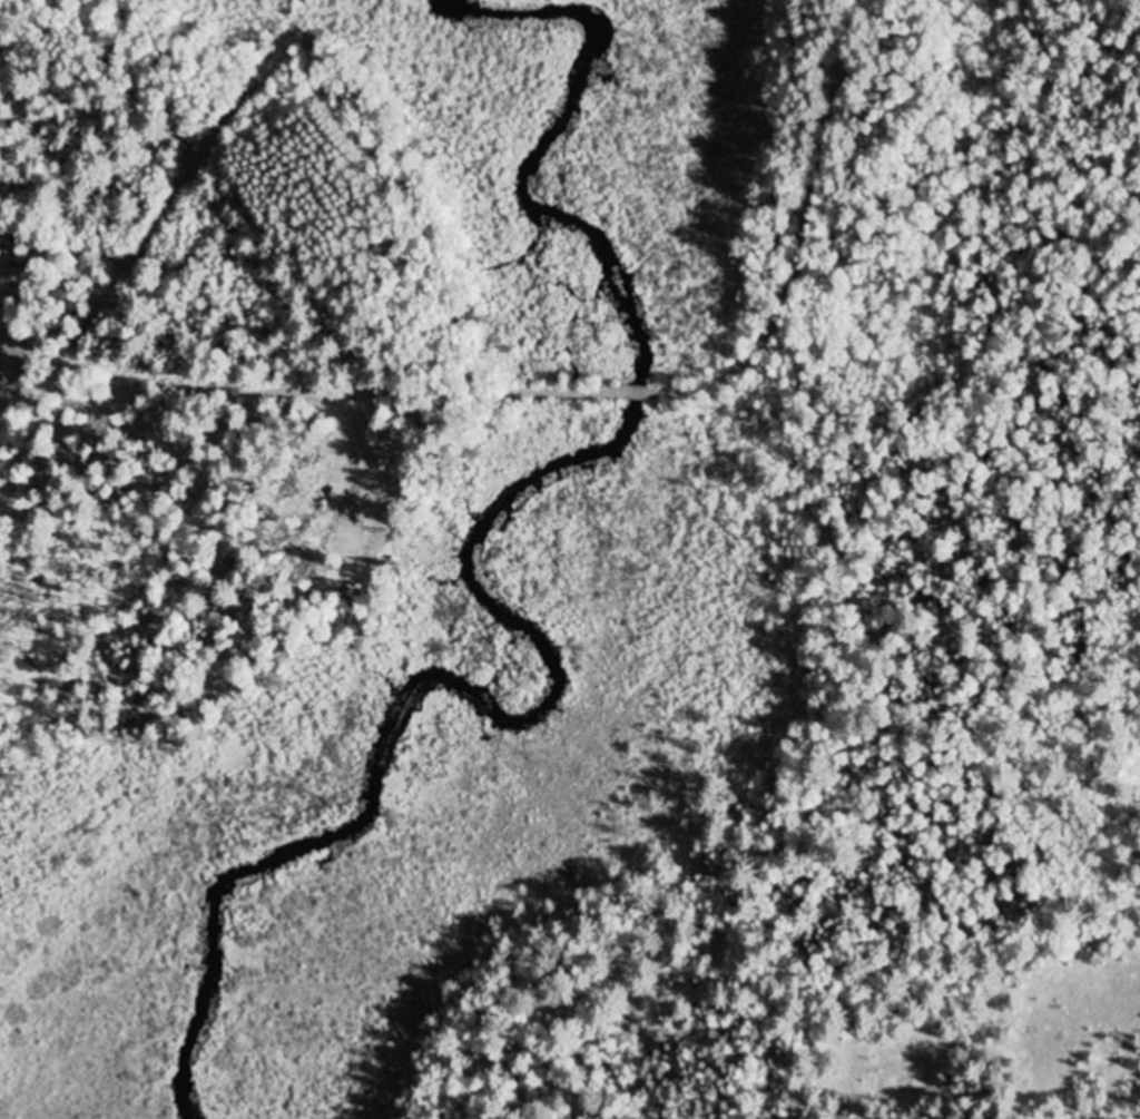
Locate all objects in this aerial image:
road: (800, 239)
road: (308, 392)
road: (631, 392)

